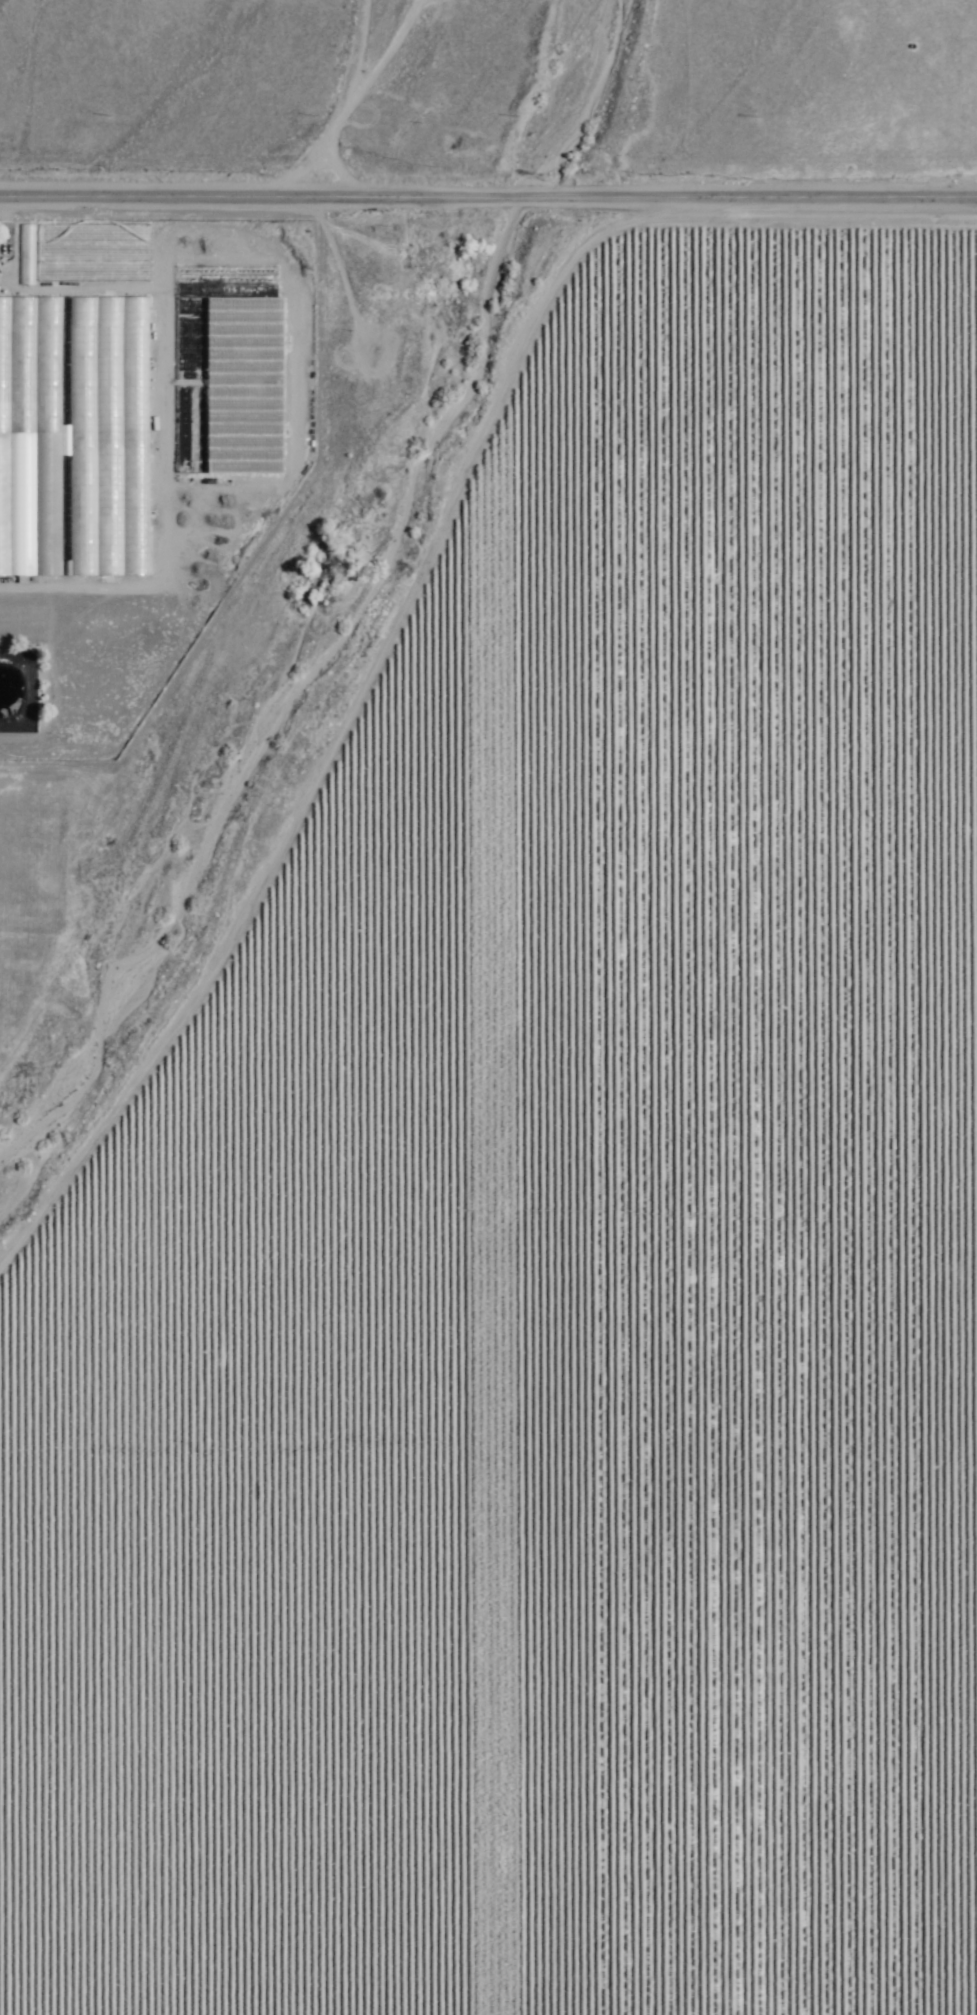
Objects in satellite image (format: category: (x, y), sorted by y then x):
road: (362, 99)
road: (488, 199)
building: (25, 255)
building: (73, 438)
wastewater plant: (11, 707)
road: (306, 722)
crop: (554, 1225)

